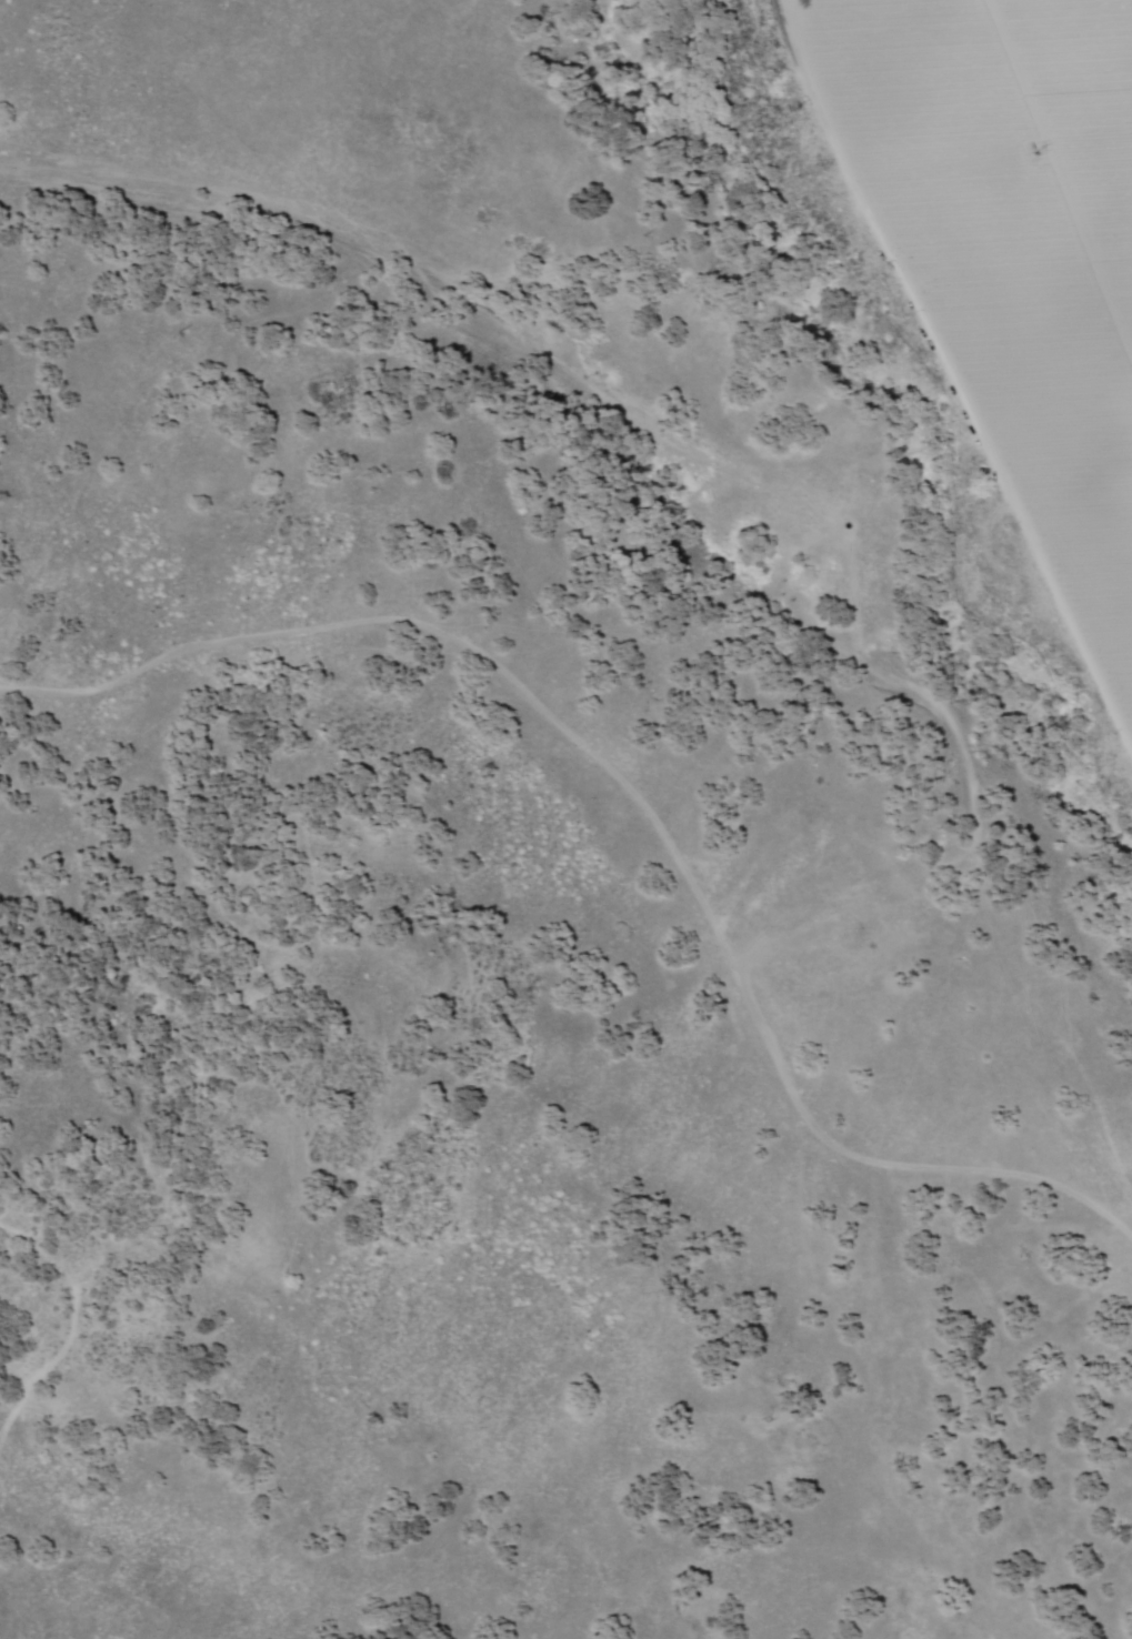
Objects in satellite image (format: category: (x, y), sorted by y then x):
road: (790, 49)
road: (251, 168)
crop: (1014, 239)
road: (976, 418)

